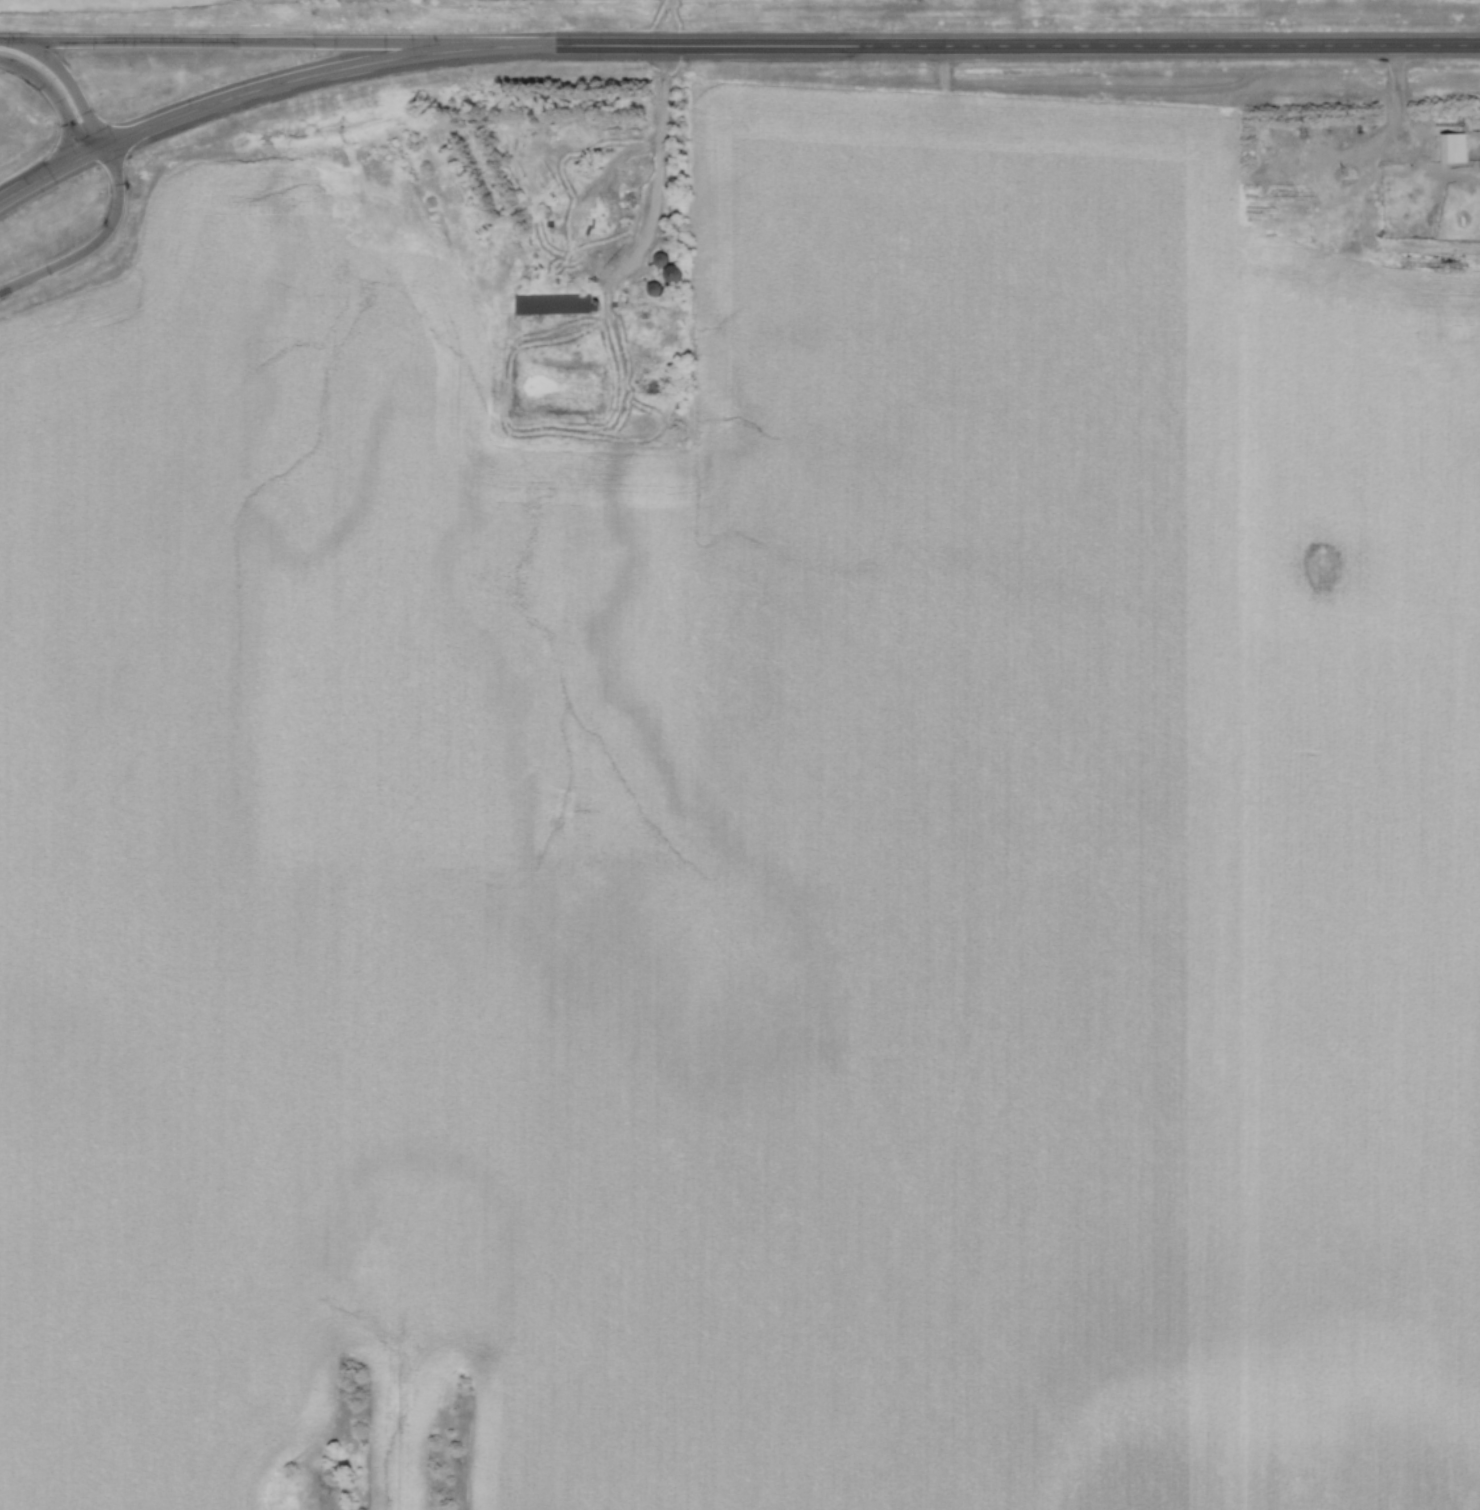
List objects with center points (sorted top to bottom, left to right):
road: (272, 39)
road: (784, 43)
road: (67, 73)
road: (56, 90)
road: (1401, 123)
building: (552, 130)
building: (1458, 146)
road: (96, 147)
road: (43, 174)
road: (658, 178)
road: (97, 240)
building: (663, 260)
building: (675, 274)
building: (558, 303)

